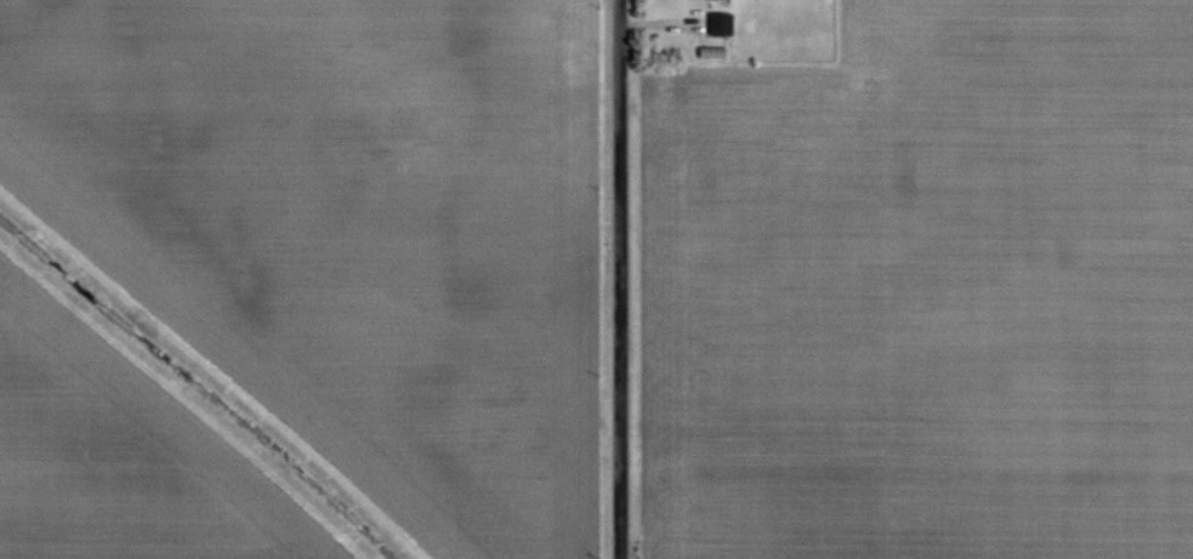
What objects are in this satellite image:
building: (717, 19)
road: (614, 279)

